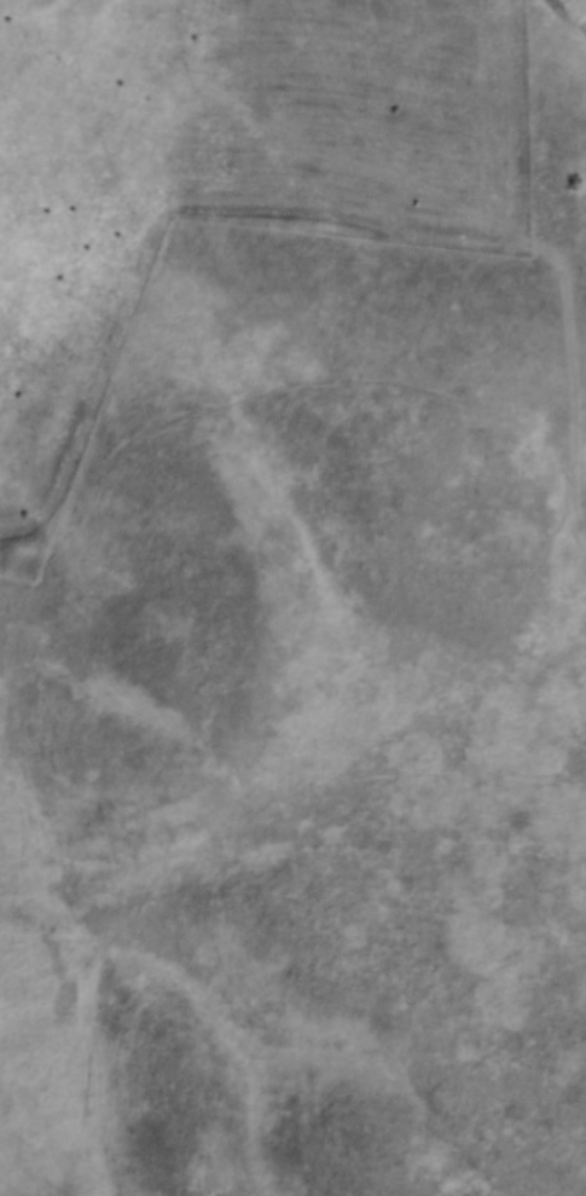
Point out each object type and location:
crop: (219, 163)

